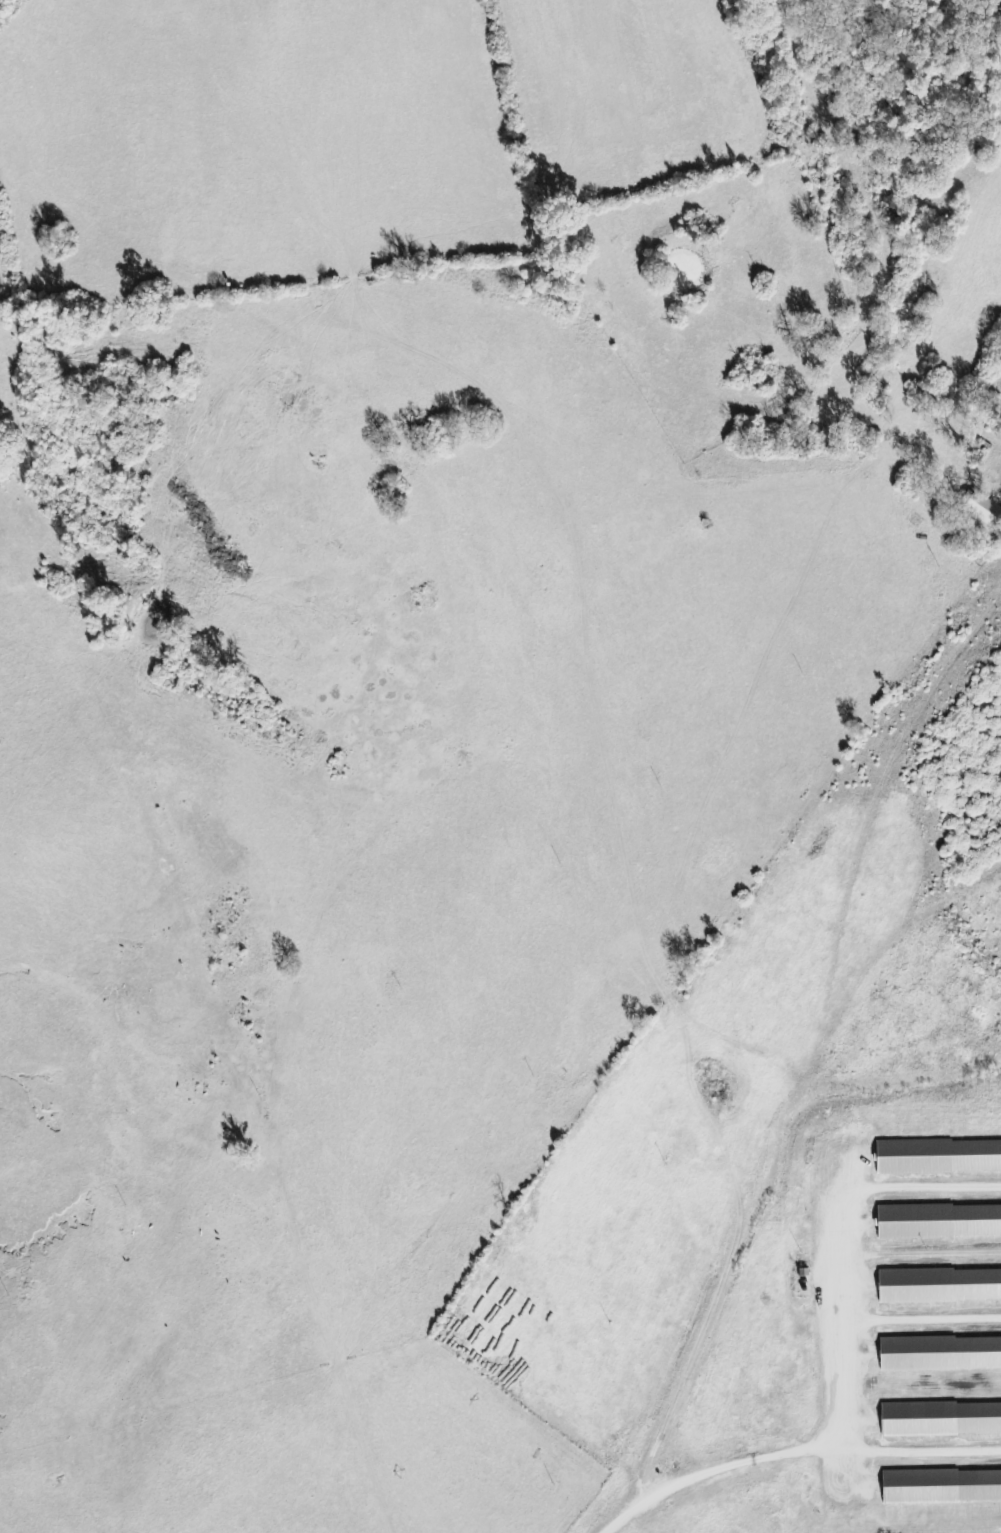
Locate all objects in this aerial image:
road: (865, 264)
building: (982, 510)
road: (819, 1066)
building: (939, 1157)
building: (939, 1221)
building: (940, 1286)
building: (940, 1353)
building: (941, 1420)
building: (942, 1487)

